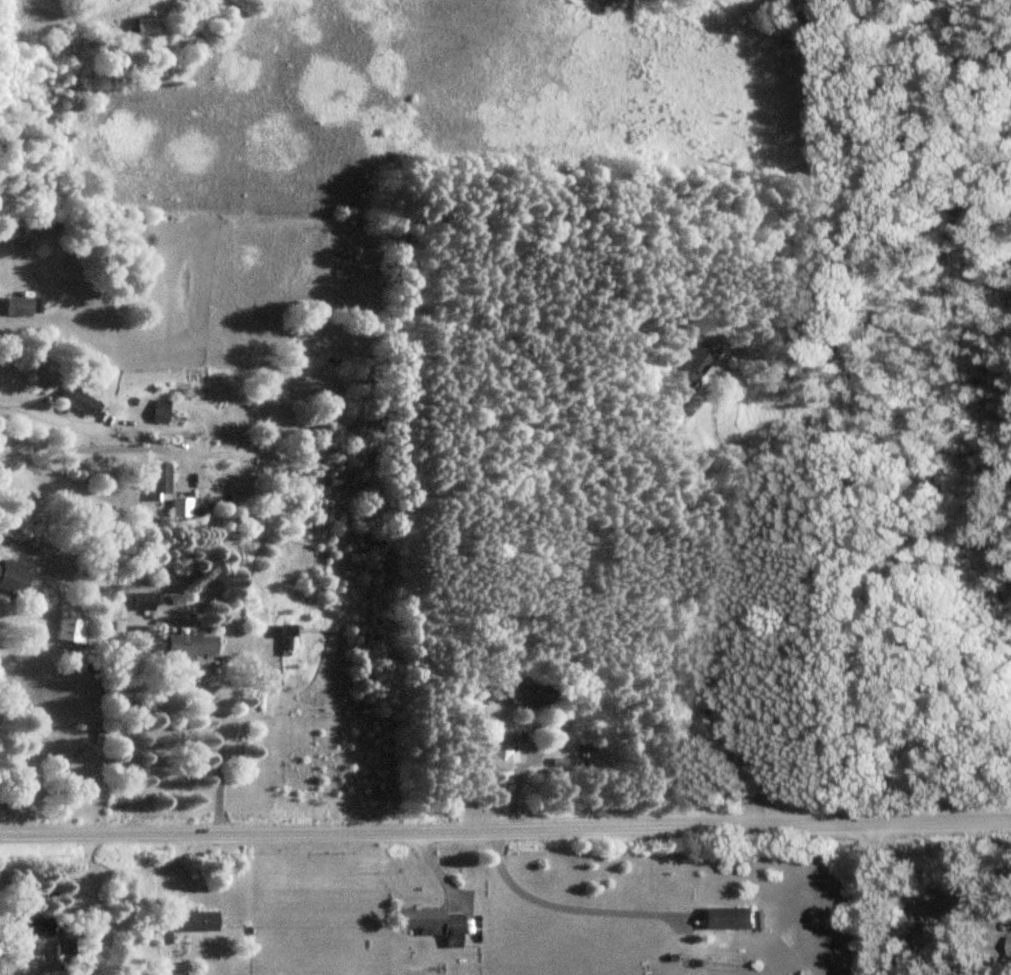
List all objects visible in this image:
road: (70, 14)
building: (148, 26)
building: (18, 234)
building: (22, 306)
building: (693, 365)
building: (81, 401)
building: (163, 412)
road: (50, 415)
road: (88, 447)
building: (163, 483)
building: (183, 508)
building: (14, 577)
building: (145, 601)
building: (73, 630)
building: (287, 639)
building: (191, 647)
road: (217, 749)
building: (496, 759)
road: (941, 822)
road: (435, 833)
road: (875, 899)
road: (566, 908)
building: (728, 918)
building: (195, 922)
building: (434, 925)
building: (31, 930)
building: (1010, 946)
building: (67, 952)

